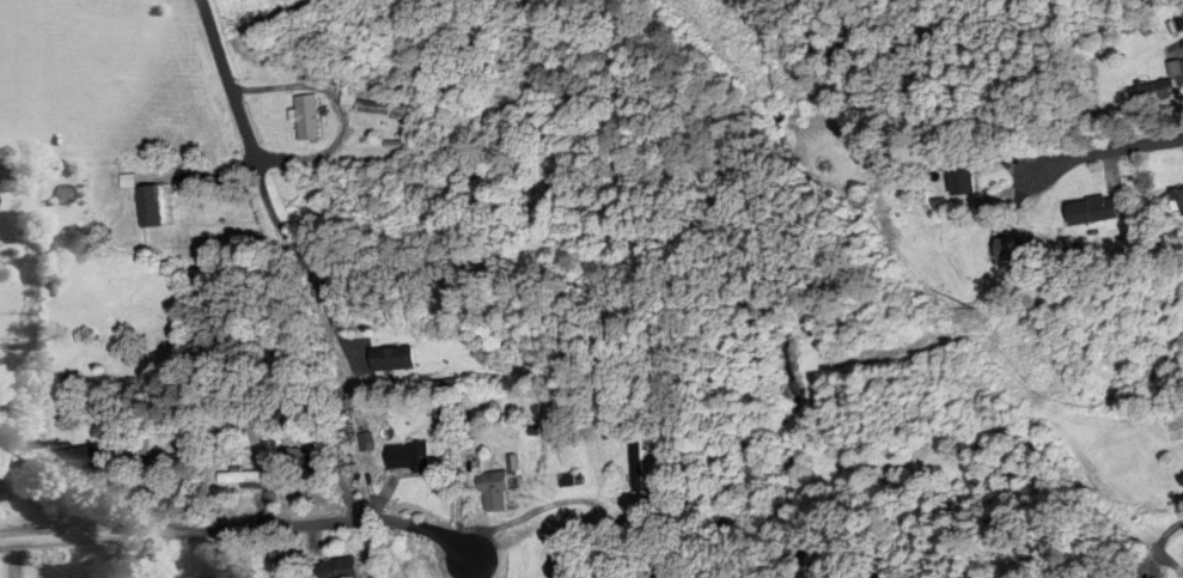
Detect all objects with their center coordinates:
building: (1175, 69)
building: (1150, 89)
building: (377, 110)
road: (335, 114)
building: (303, 118)
road: (1102, 148)
building: (958, 180)
road: (260, 187)
building: (1176, 200)
building: (118, 208)
building: (1090, 212)
building: (75, 232)
building: (1012, 250)
building: (386, 359)
building: (66, 383)
building: (402, 457)
building: (78, 461)
building: (153, 464)
building: (632, 466)
building: (307, 468)
building: (236, 477)
building: (0, 493)
building: (490, 493)
road: (1097, 525)
road: (236, 529)
road: (476, 560)
road: (13, 561)
building: (403, 567)
building: (334, 570)
building: (657, 572)
building: (188, 577)

